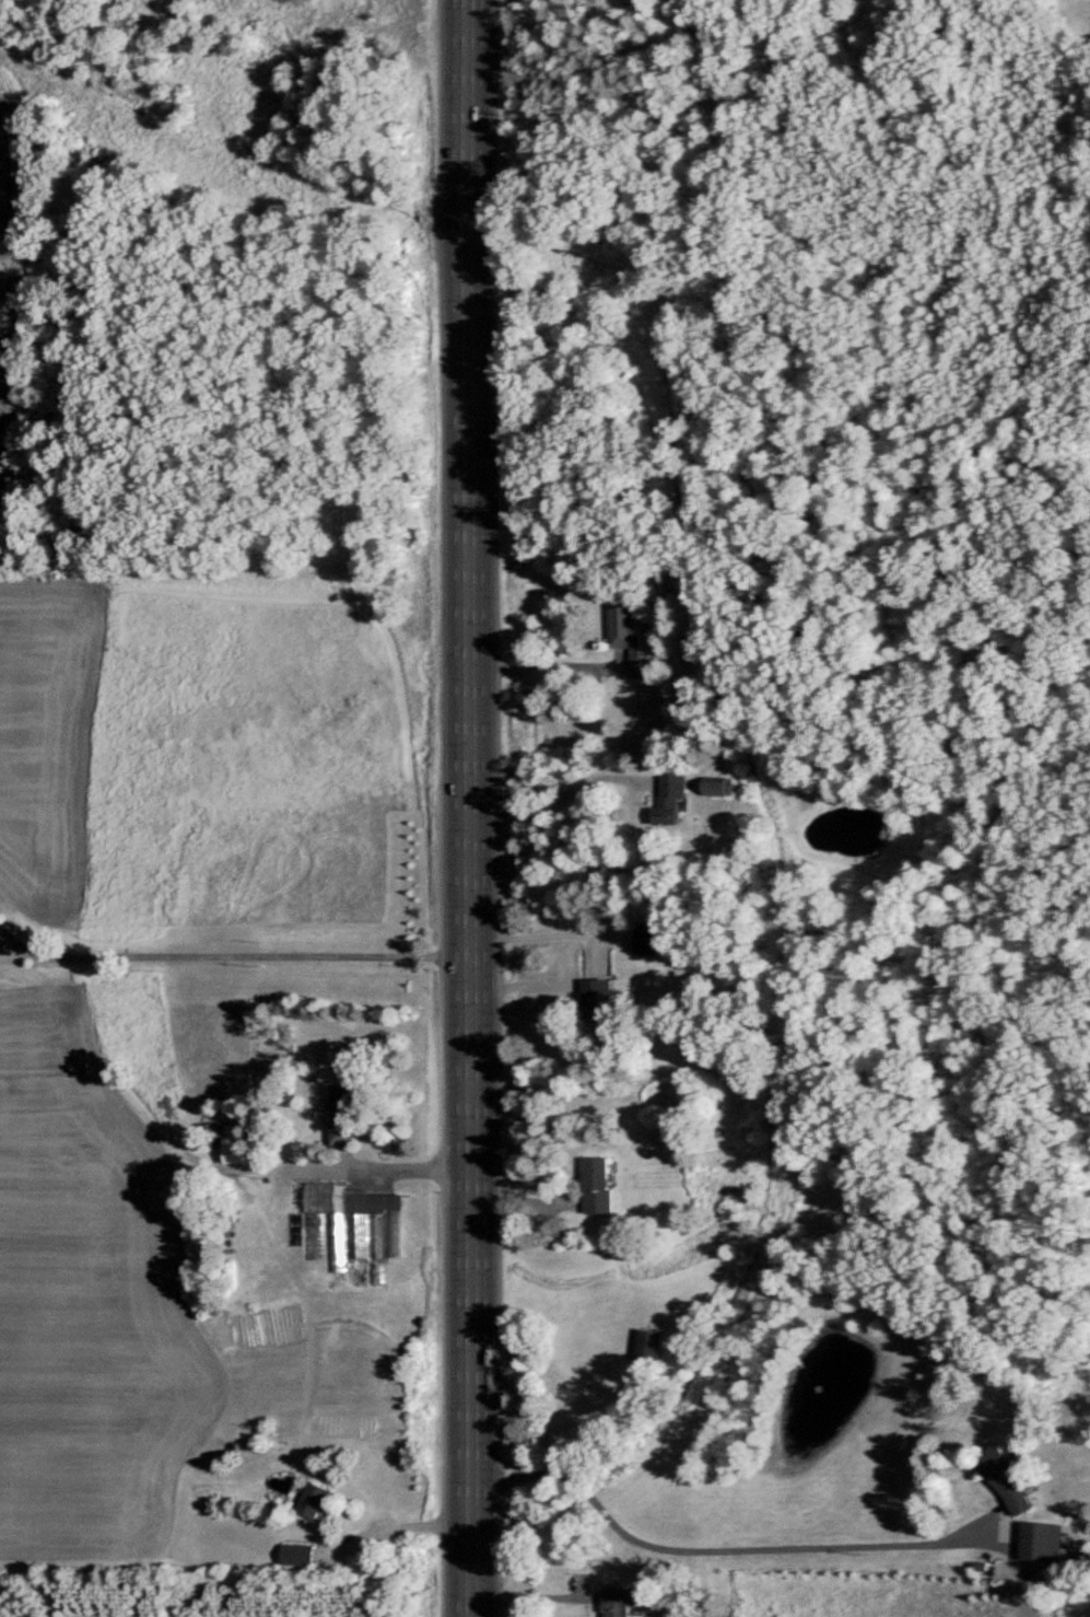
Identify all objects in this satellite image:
building: (628, 635)
road: (538, 663)
building: (716, 786)
building: (669, 795)
road: (556, 799)
road: (468, 809)
road: (546, 932)
building: (648, 939)
road: (228, 959)
building: (596, 999)
building: (342, 1115)
building: (234, 1153)
road: (377, 1166)
building: (597, 1185)
building: (342, 1219)
building: (648, 1347)
building: (1006, 1479)
building: (314, 1500)
road: (406, 1524)
road: (726, 1549)
building: (1035, 1551)
building: (297, 1554)
road: (535, 1595)
building: (619, 1602)

